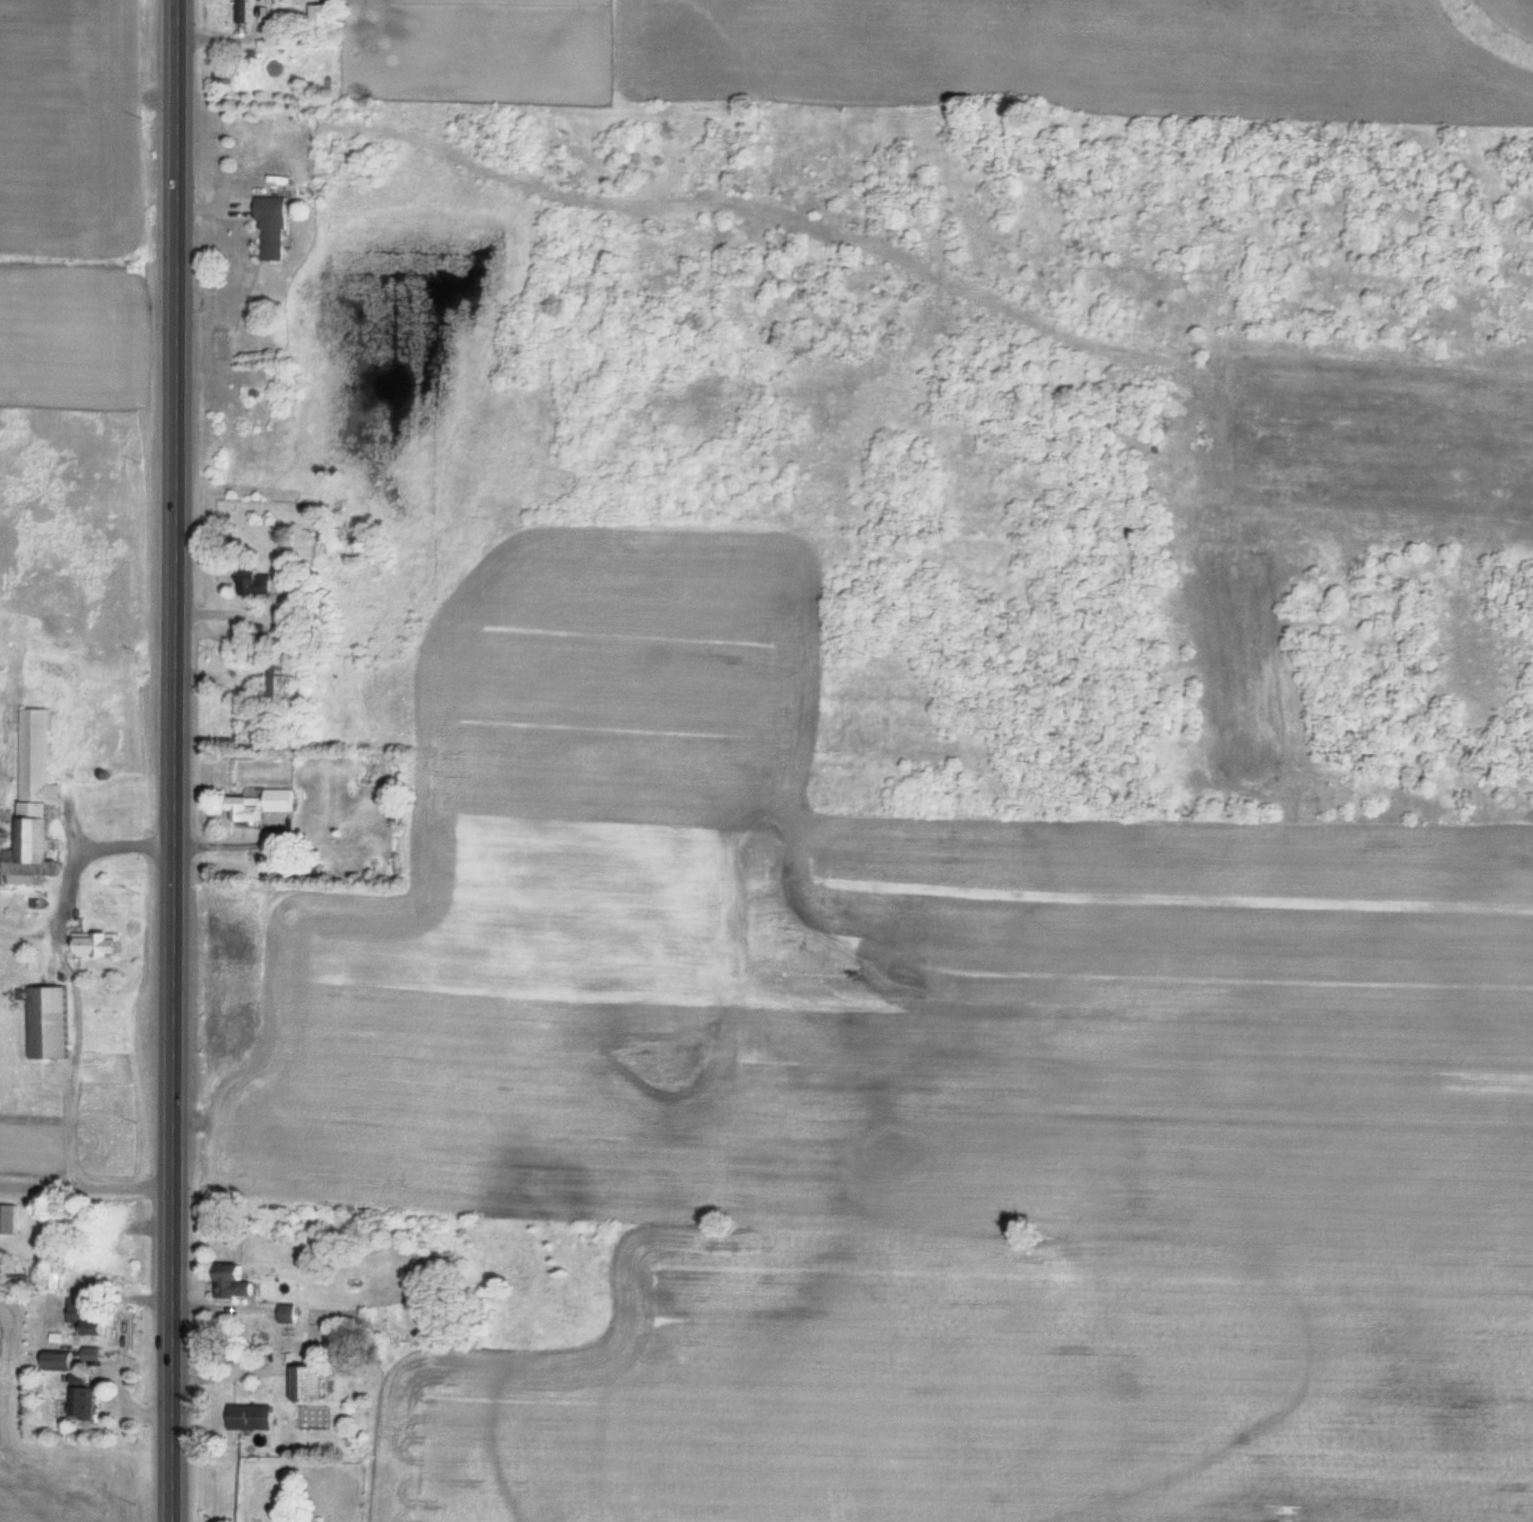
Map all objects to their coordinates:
building: (241, 12)
building: (319, 20)
building: (270, 229)
building: (251, 583)
building: (280, 687)
road: (175, 760)
building: (30, 801)
building: (260, 808)
building: (92, 945)
building: (45, 1022)
road: (85, 1188)
building: (8, 1219)
building: (55, 1277)
building: (229, 1281)
building: (285, 1313)
building: (89, 1330)
building: (90, 1354)
building: (57, 1360)
building: (304, 1383)
building: (80, 1403)
building: (248, 1418)

